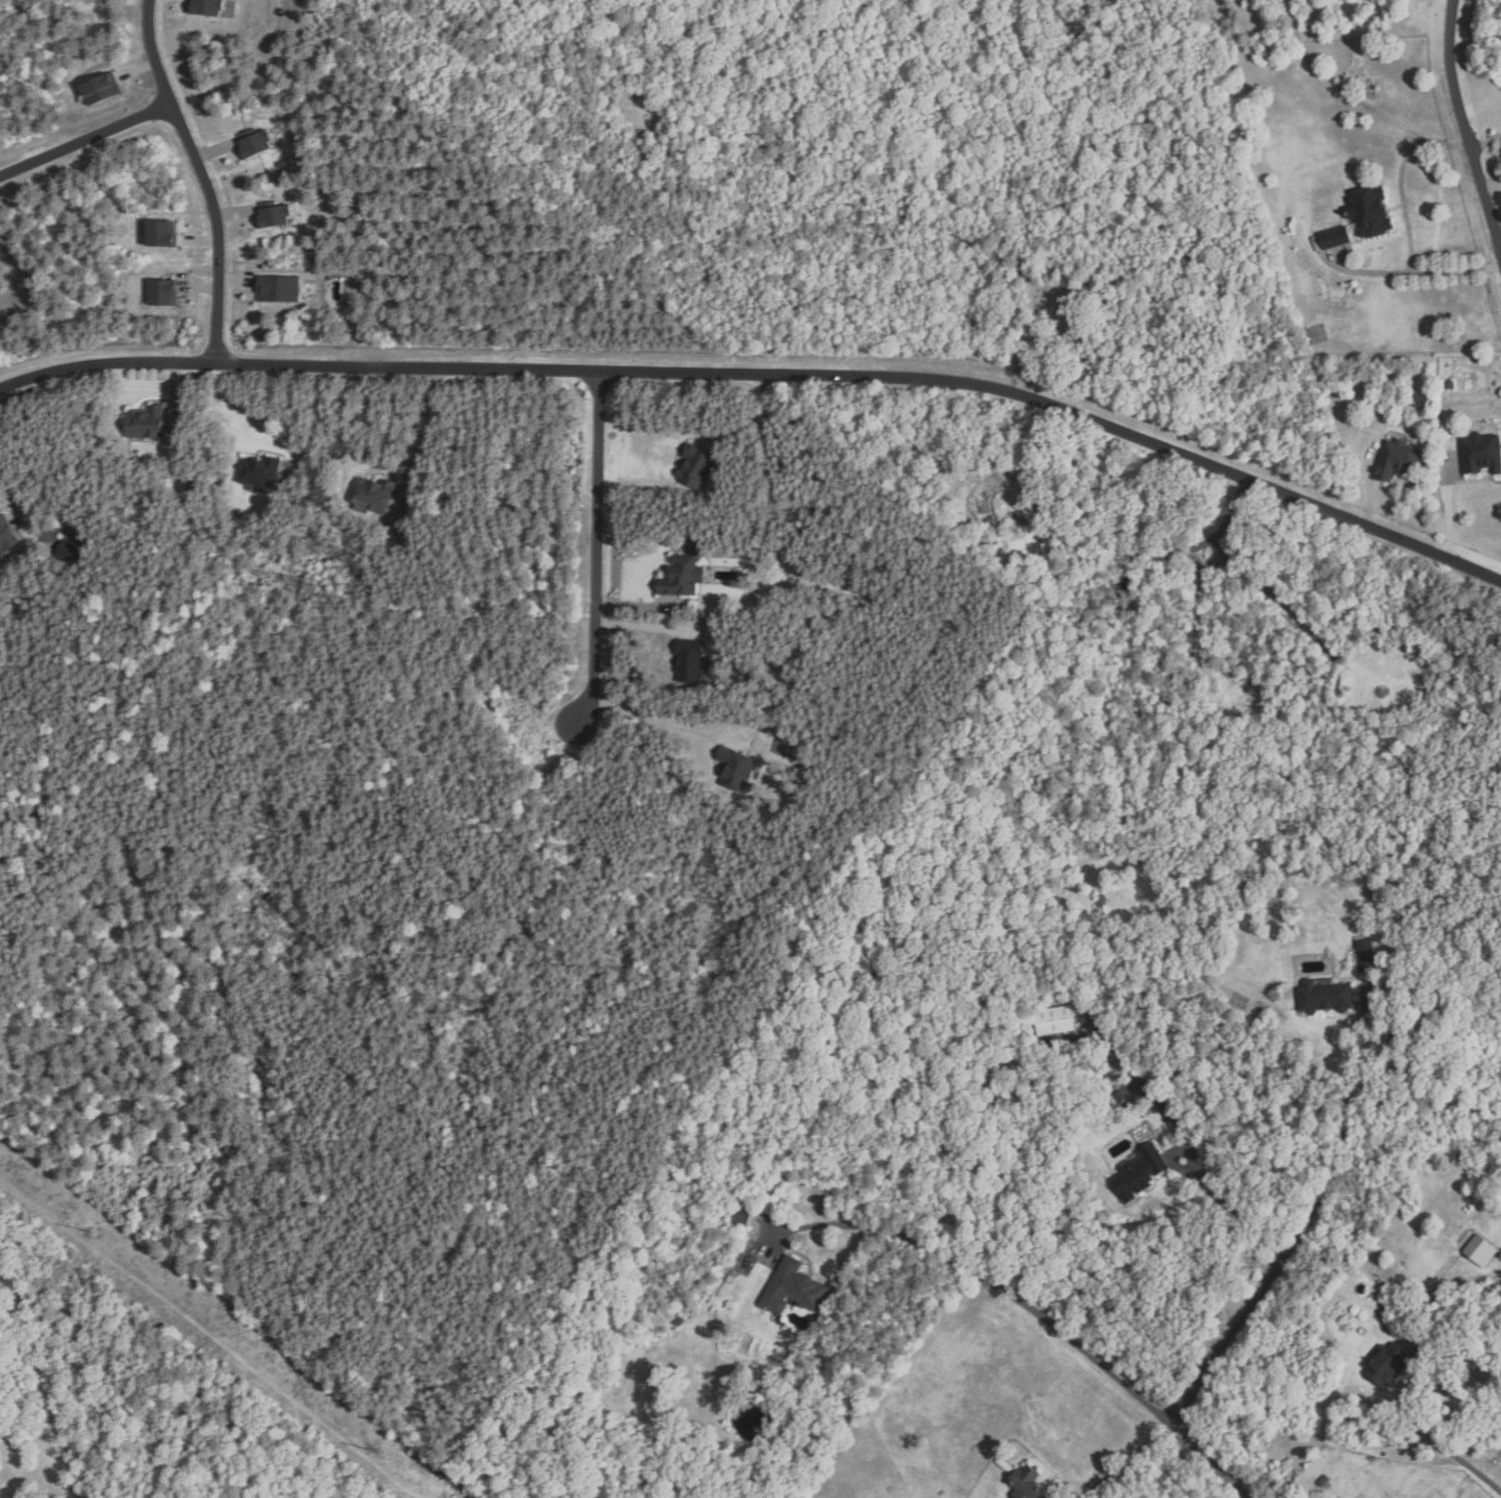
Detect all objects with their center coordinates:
building: (206, 6)
building: (101, 88)
road: (1466, 125)
road: (85, 140)
building: (253, 141)
road: (1487, 143)
building: (284, 163)
road: (204, 177)
road: (1492, 187)
building: (1371, 212)
building: (273, 215)
road: (1406, 220)
building: (160, 233)
building: (1335, 237)
building: (279, 289)
building: (163, 293)
building: (1318, 334)
road: (766, 372)
building: (1451, 385)
building: (1420, 401)
building: (147, 423)
road: (322, 423)
road: (757, 424)
road: (427, 433)
building: (1482, 453)
building: (1397, 459)
building: (696, 466)
building: (260, 471)
road: (12, 483)
road: (1371, 488)
building: (373, 494)
road: (1449, 512)
building: (7, 534)
road: (596, 549)
road: (1156, 553)
road: (1217, 559)
building: (681, 576)
road: (634, 605)
road: (1286, 607)
road: (1201, 622)
road: (645, 628)
building: (691, 661)
road: (671, 723)
building: (735, 768)
building: (1366, 955)
building: (1326, 998)
building: (1055, 1021)
building: (1121, 1096)
building: (1144, 1170)
building: (772, 1204)
road: (1237, 1208)
building: (741, 1218)
power tower: (89, 1234)
road: (1289, 1250)
building: (1481, 1251)
building: (792, 1289)
building: (687, 1305)
building: (1385, 1308)
road: (1043, 1318)
building: (679, 1321)
building: (1389, 1364)
road: (1429, 1430)
power tower: (370, 1453)
road: (1141, 1462)
building: (1324, 1481)
building: (1027, 1483)
building: (1015, 1497)
building: (1016, 1497)

